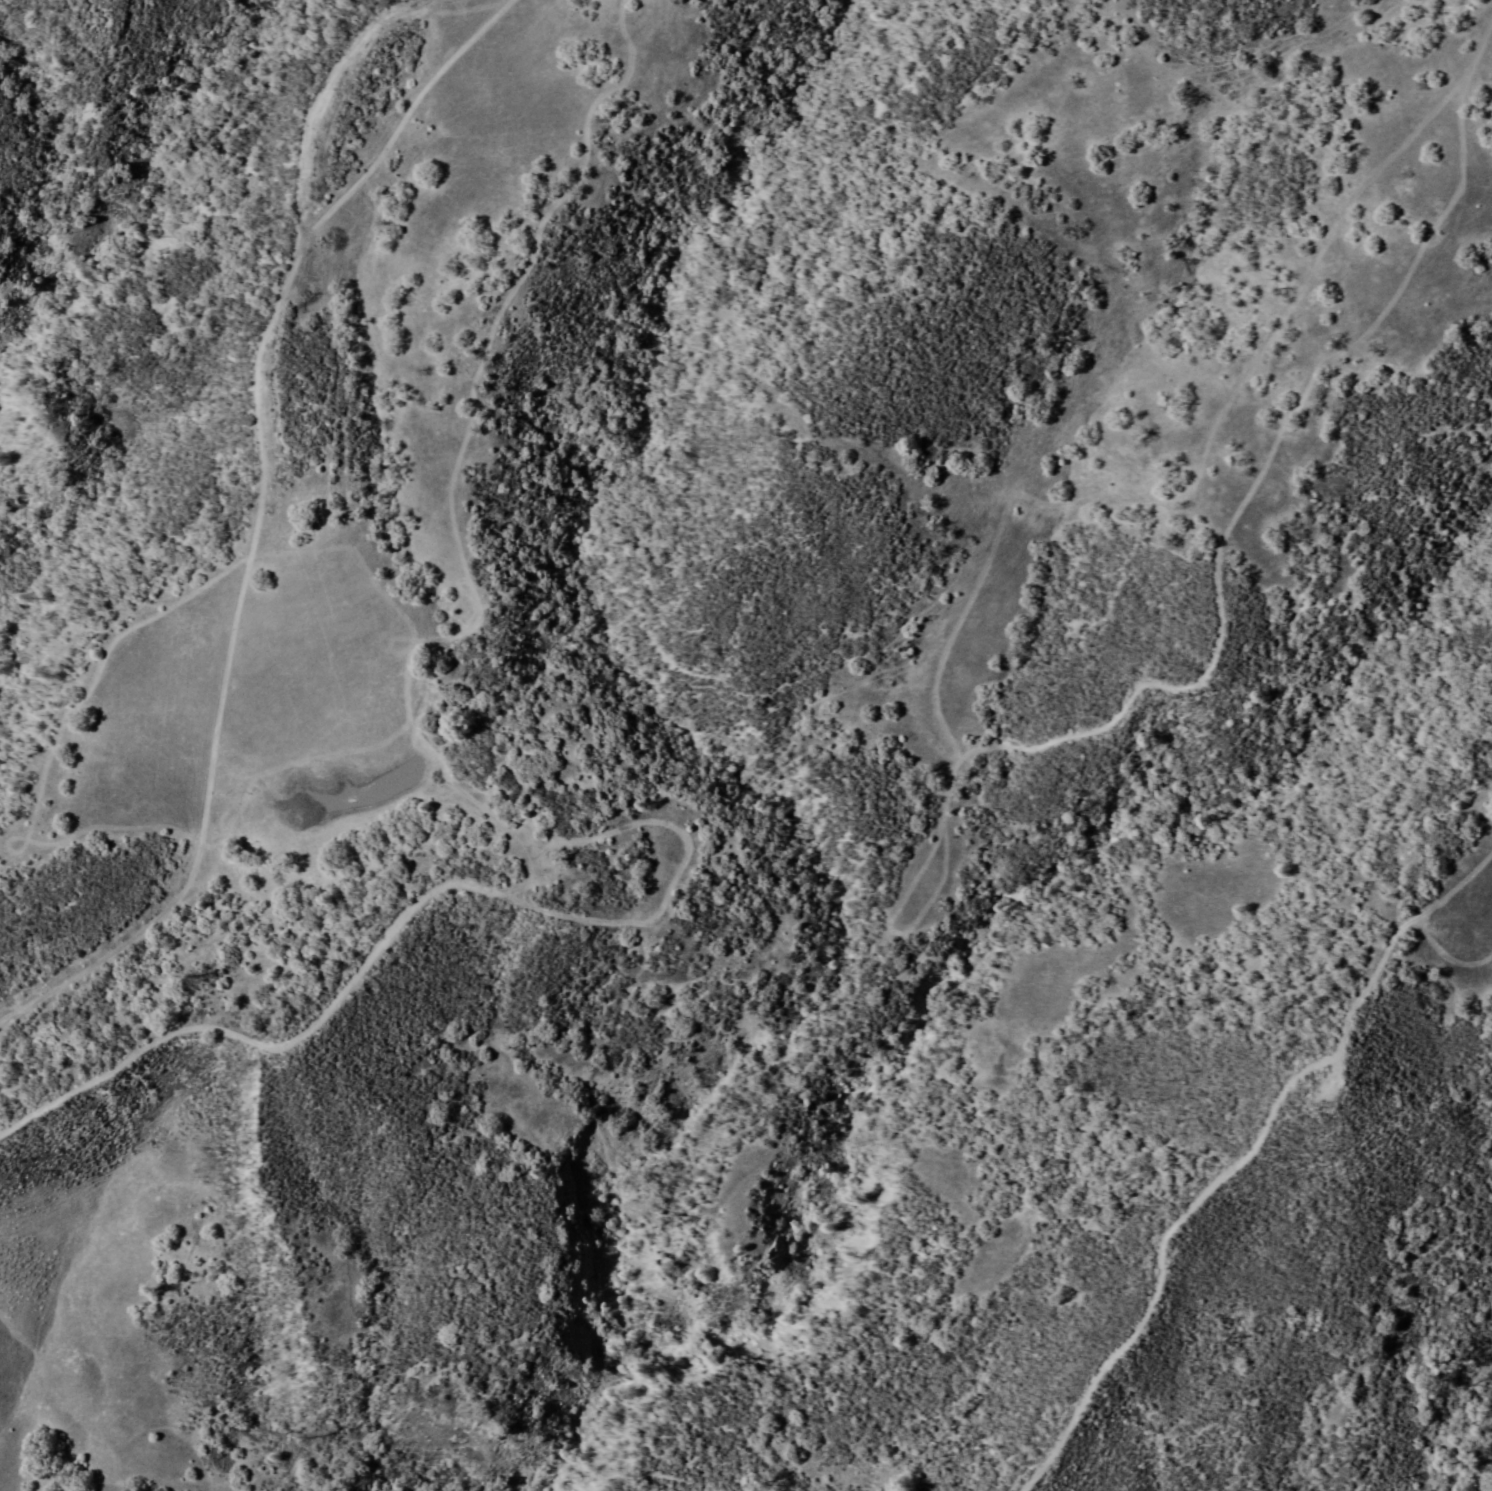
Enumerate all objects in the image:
road: (251, 513)

